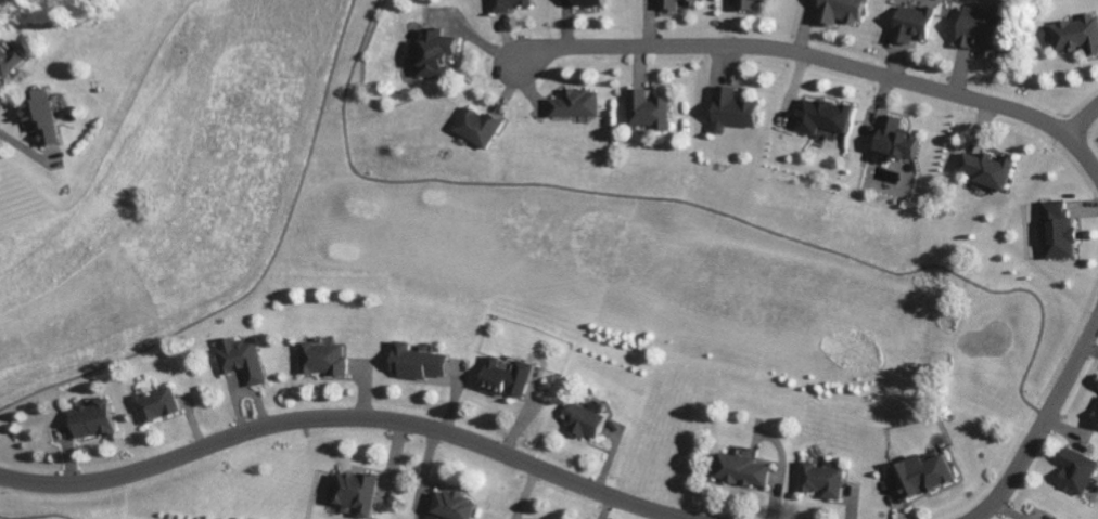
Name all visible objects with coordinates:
building: (588, 1)
building: (672, 3)
building: (746, 3)
building: (506, 4)
building: (840, 10)
building: (914, 22)
building: (981, 27)
building: (1075, 33)
building: (432, 50)
road: (822, 56)
building: (10, 57)
road: (126, 88)
building: (576, 102)
building: (648, 107)
building: (733, 108)
building: (39, 113)
building: (822, 115)
road: (1083, 119)
building: (476, 125)
building: (895, 139)
building: (987, 168)
building: (1058, 229)
building: (242, 358)
building: (323, 358)
building: (417, 360)
building: (505, 375)
building: (1097, 387)
building: (156, 403)
building: (1095, 414)
building: (92, 418)
building: (584, 419)
road: (1044, 420)
road: (349, 423)
building: (741, 467)
building: (1076, 469)
building: (922, 473)
building: (821, 479)
building: (356, 491)
building: (452, 505)

